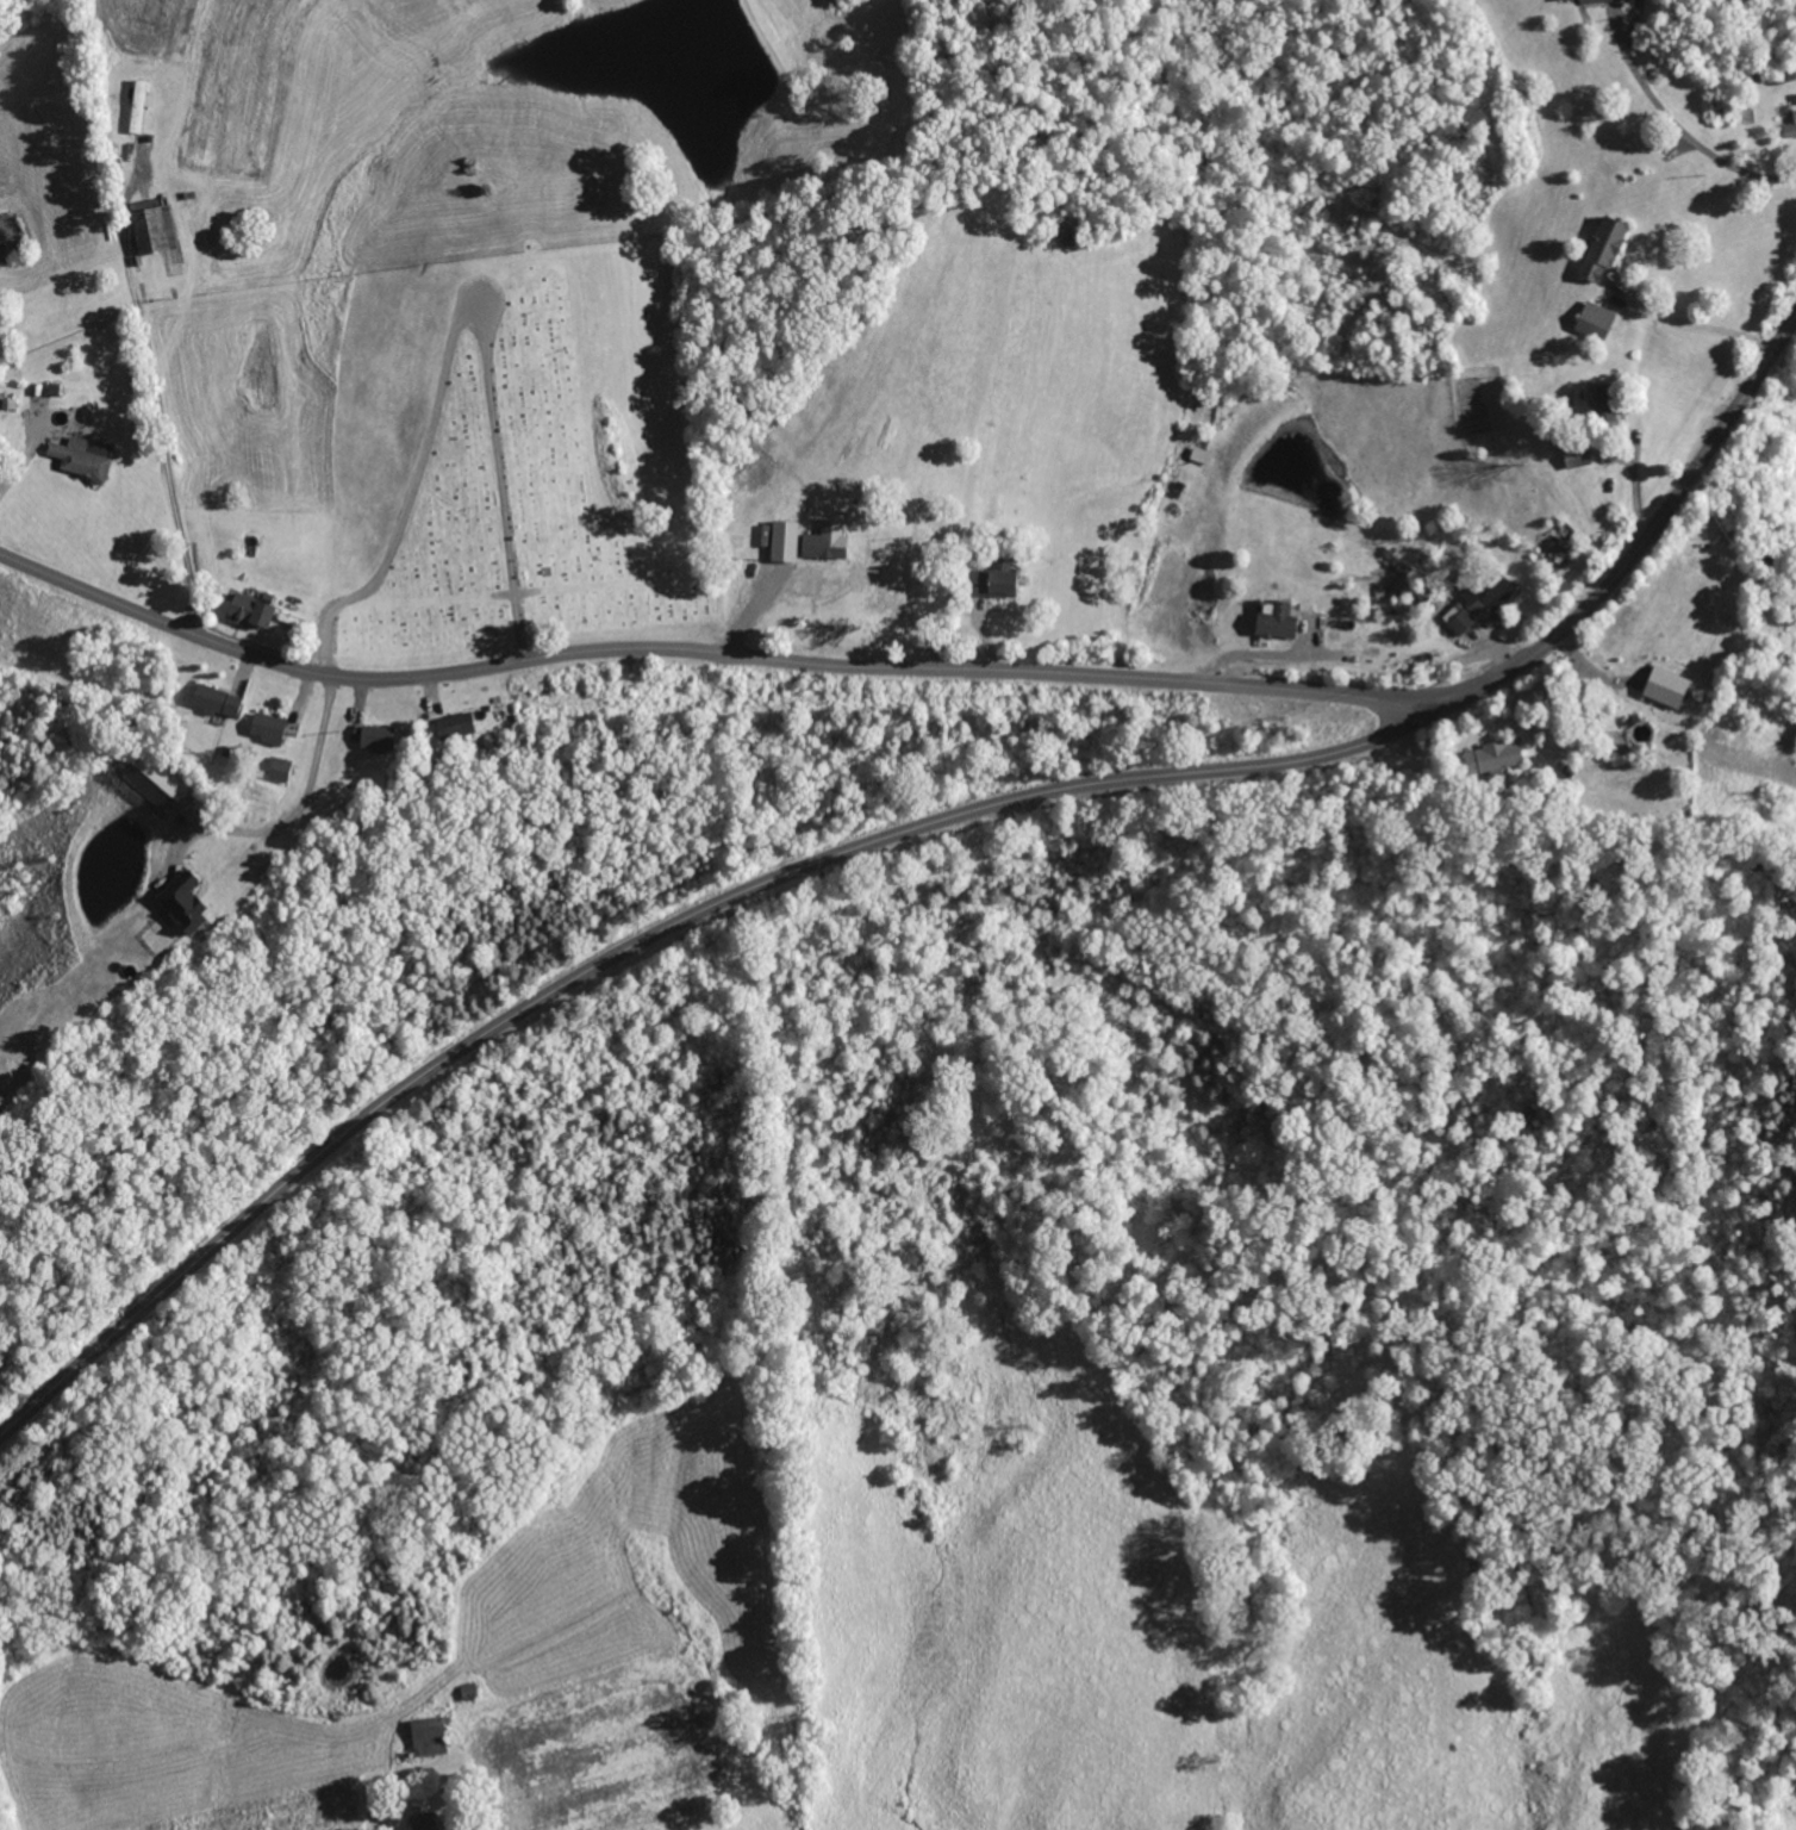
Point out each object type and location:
building: (138, 106)
building: (1790, 127)
road: (1682, 130)
building: (148, 232)
building: (1602, 249)
building: (1594, 320)
road: (1696, 325)
building: (1602, 404)
road: (162, 432)
building: (1201, 456)
building: (1574, 457)
building: (77, 460)
road: (18, 462)
park: (532, 465)
building: (782, 542)
building: (824, 542)
building: (1000, 581)
building: (978, 583)
building: (1479, 600)
building: (249, 612)
building: (1276, 623)
road: (705, 654)
road: (1261, 656)
building: (1664, 687)
building: (216, 701)
building: (453, 727)
building: (267, 729)
building: (375, 740)
building: (1491, 759)
building: (277, 770)
road: (300, 805)
road: (900, 832)
building: (181, 904)
building: (426, 1737)
building: (423, 1822)

